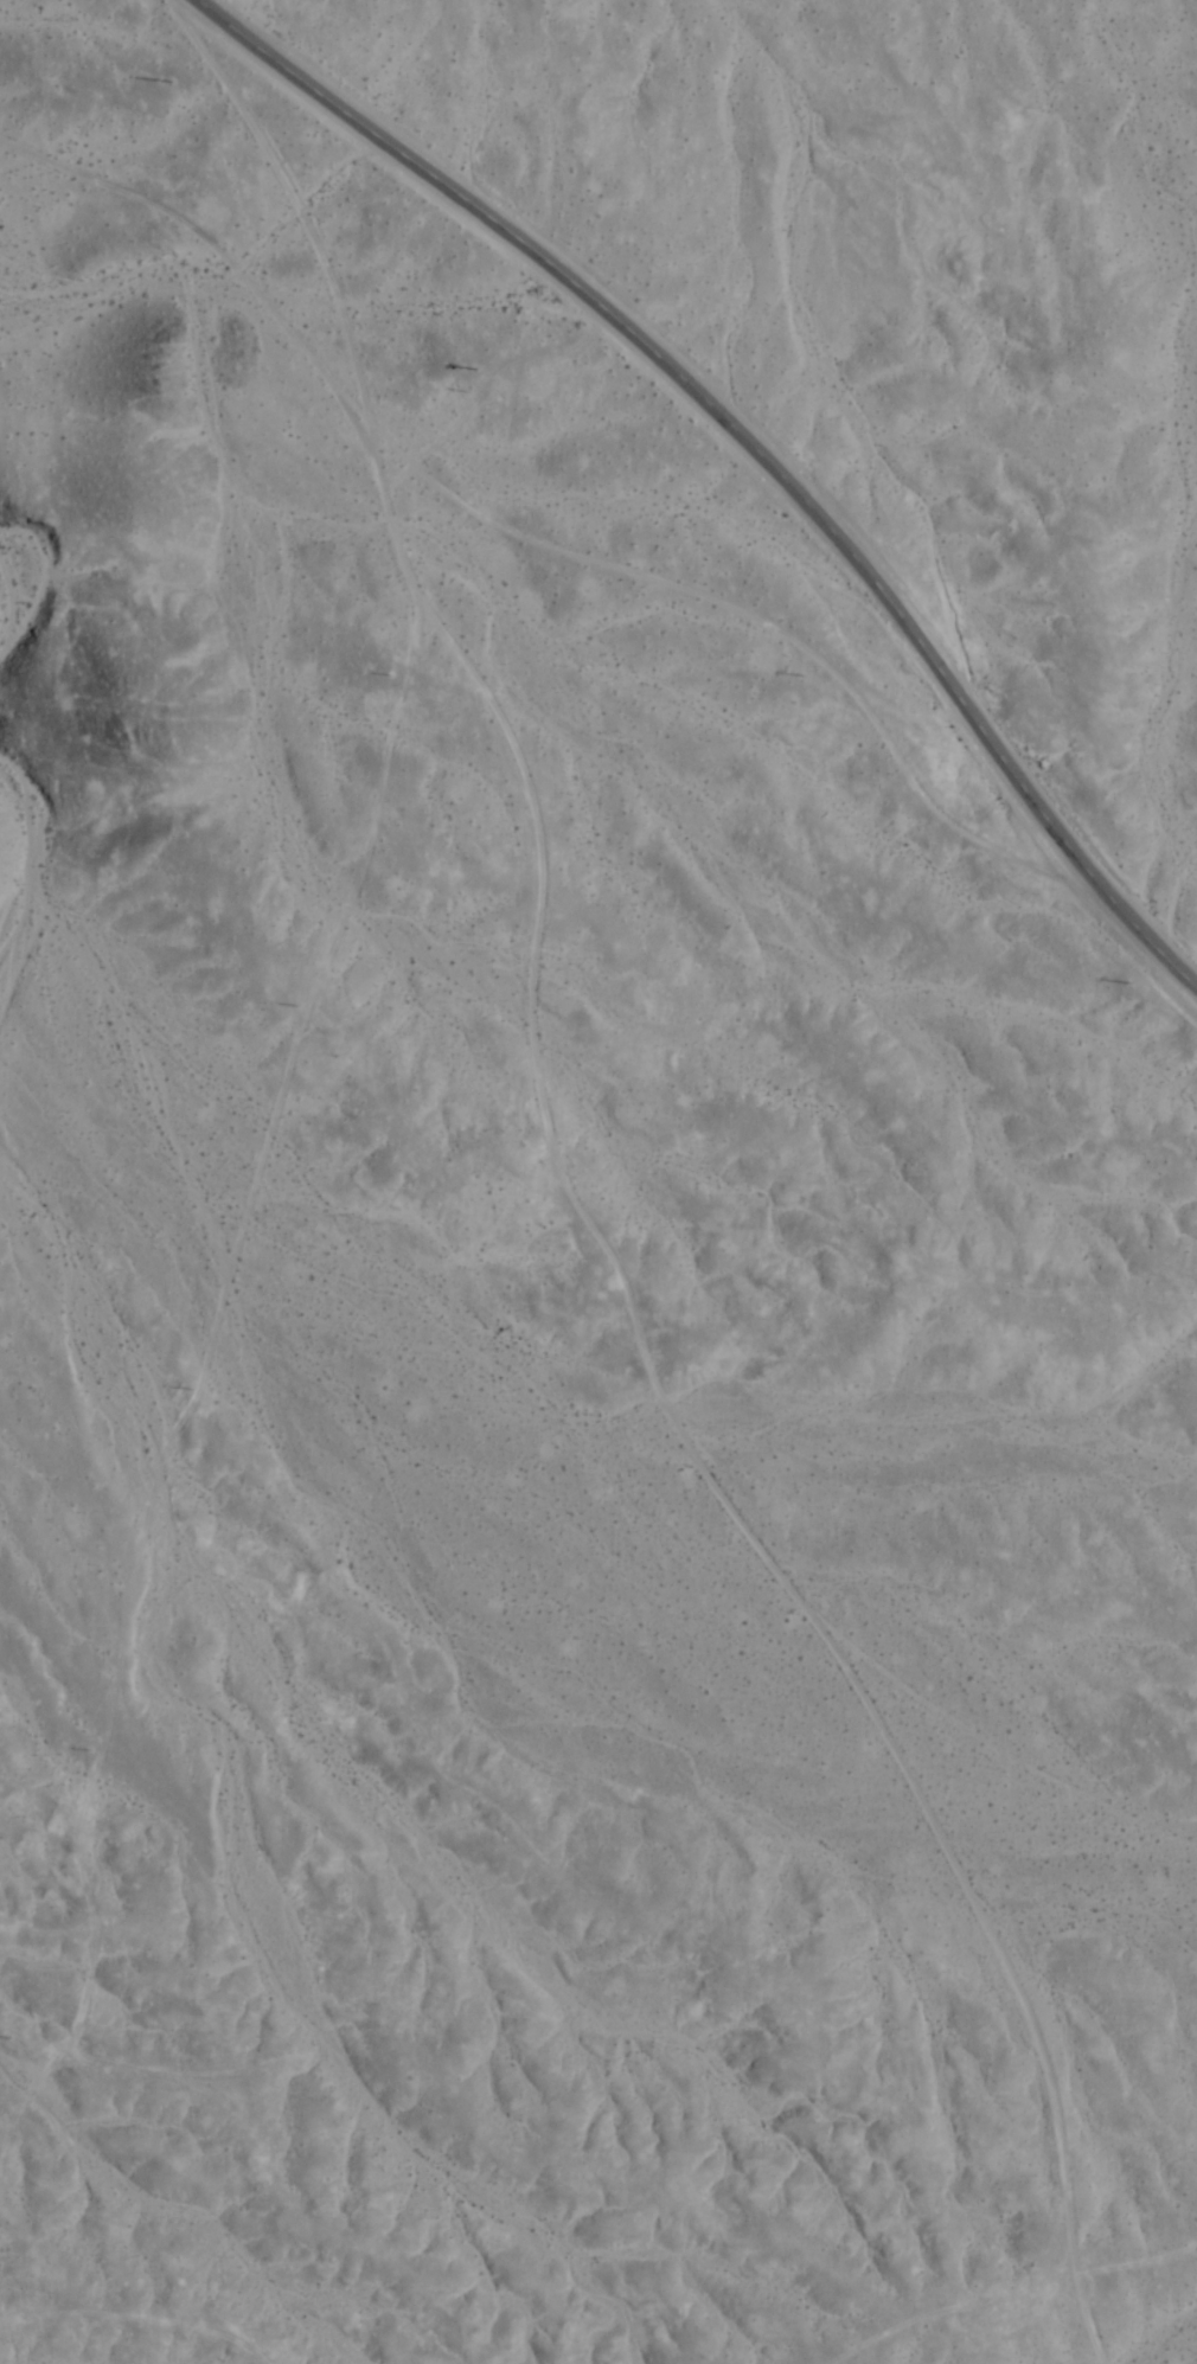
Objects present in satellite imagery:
road: (750, 442)
road: (617, 1264)

